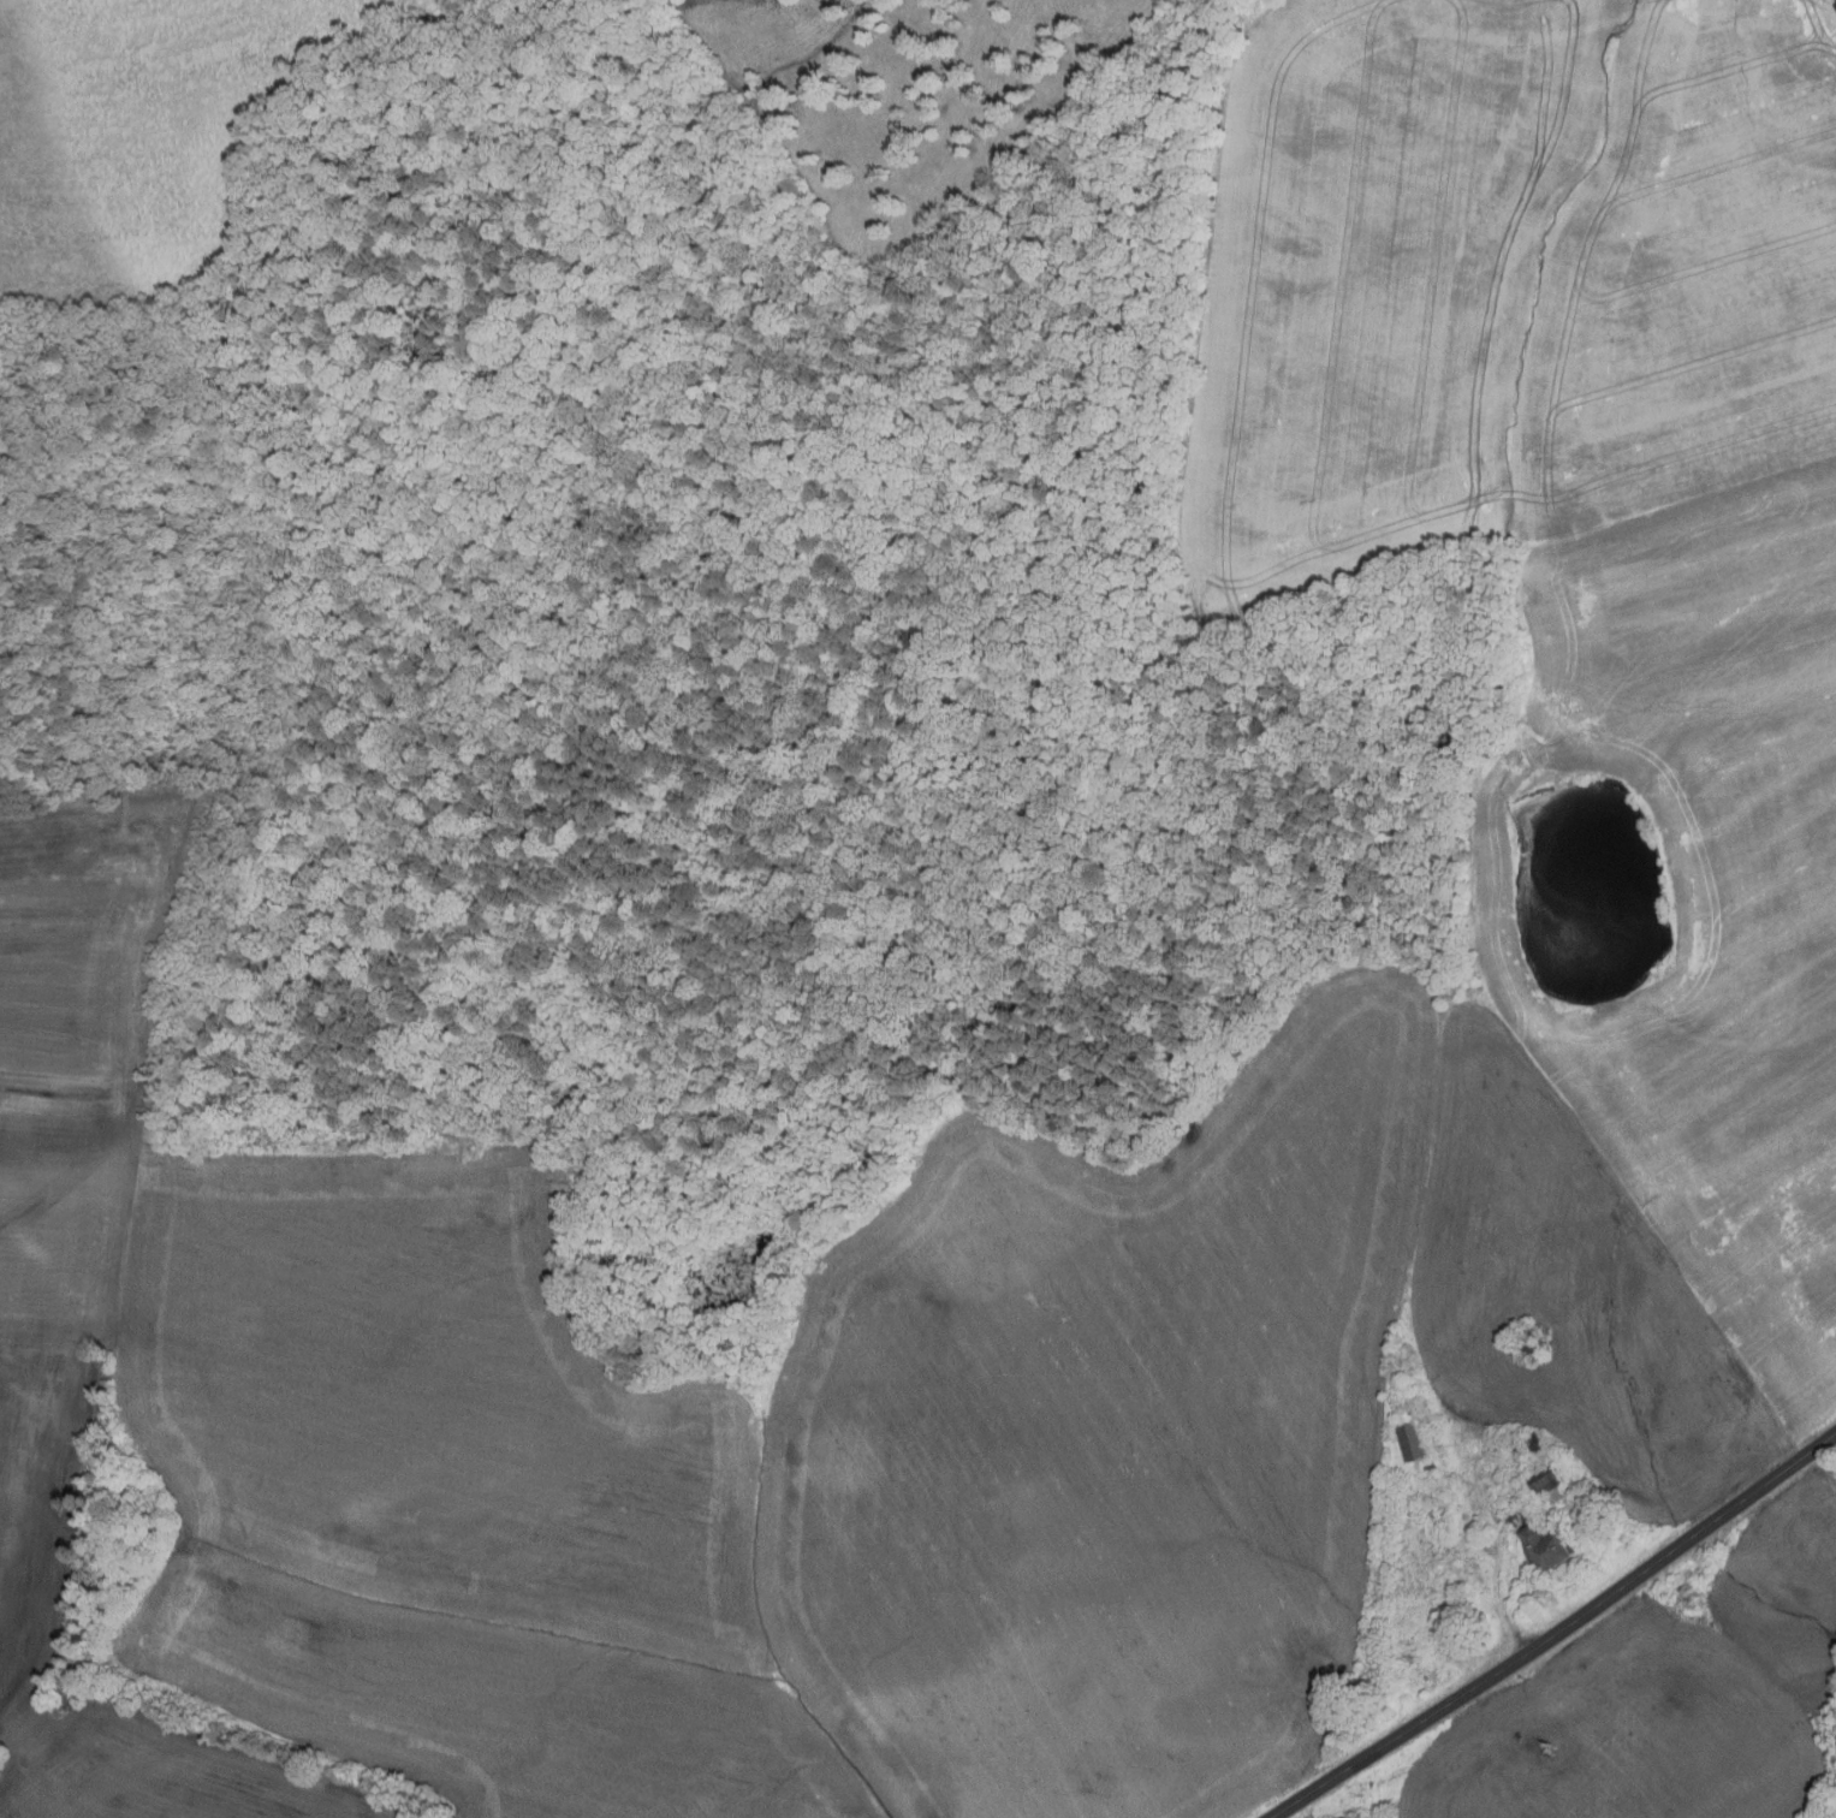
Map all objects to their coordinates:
crop: (1576, 536)
building: (1532, 1341)
building: (1414, 1413)
building: (1412, 1440)
building: (1537, 1445)
building: (1432, 1463)
building: (1545, 1483)
building: (1541, 1540)
road: (1501, 1585)
road: (1557, 1632)

